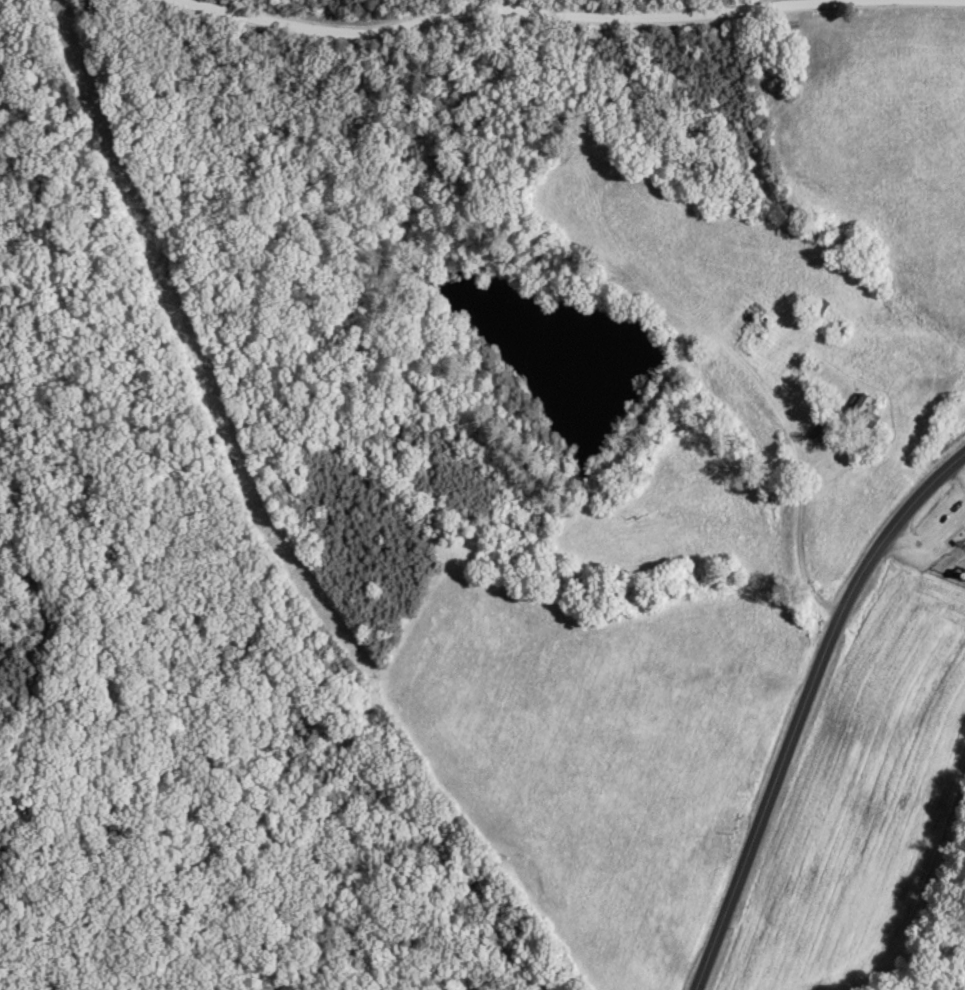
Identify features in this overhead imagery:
road: (567, 16)
building: (710, 311)
building: (752, 339)
building: (862, 411)
road: (796, 482)
road: (806, 707)

